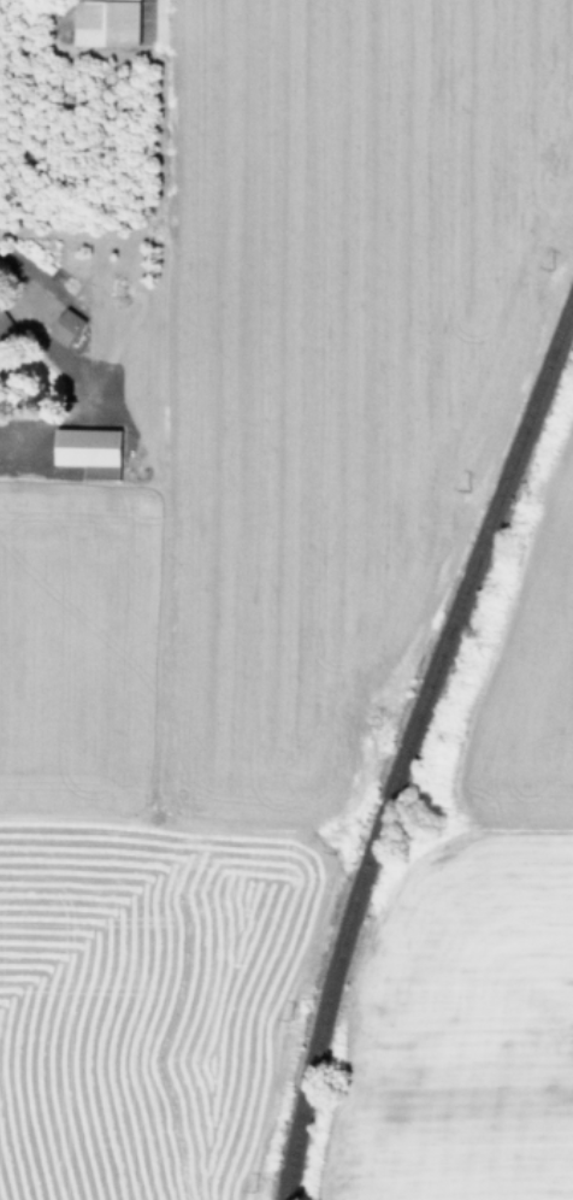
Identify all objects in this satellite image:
building: (107, 22)
road: (7, 264)
building: (70, 286)
building: (4, 323)
building: (65, 325)
building: (0, 345)
building: (89, 451)
railway: (404, 741)
crop: (496, 960)

